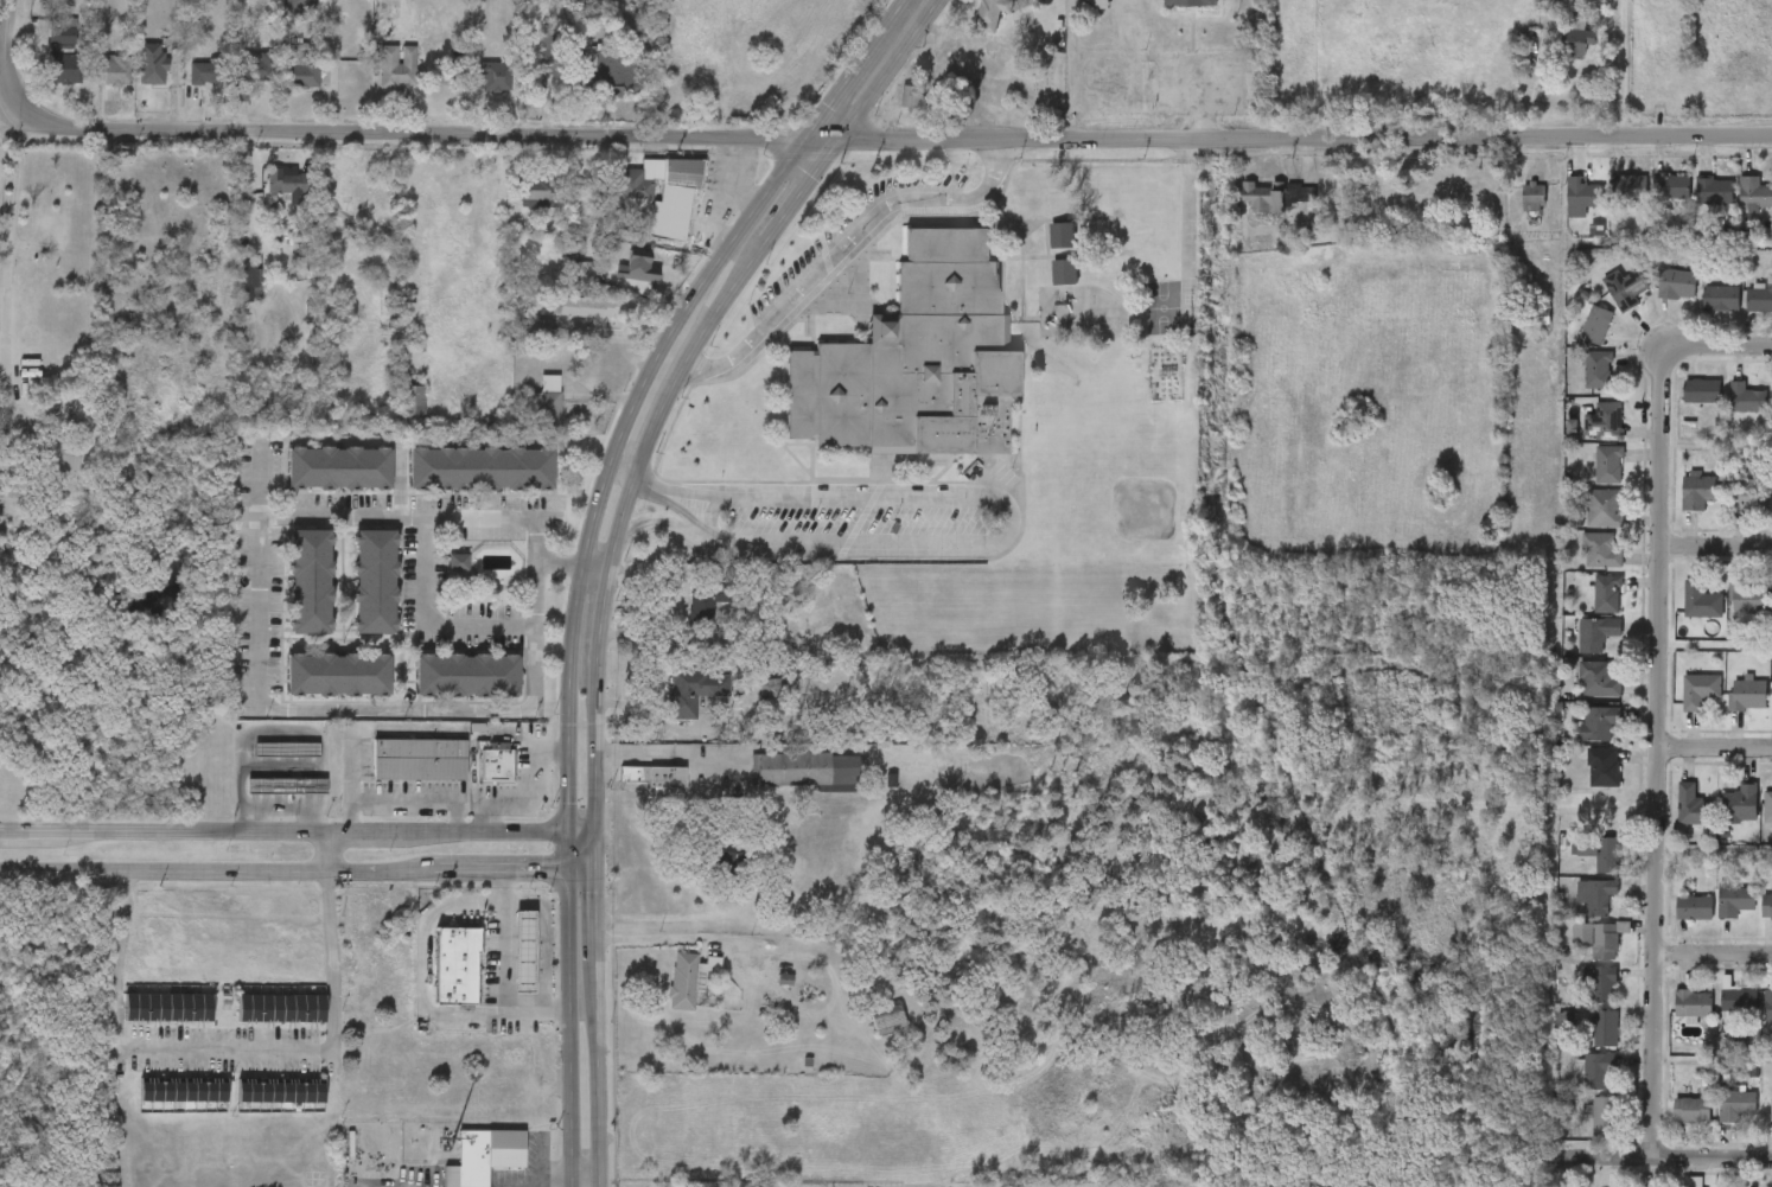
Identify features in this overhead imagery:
building: (1188, 4)
building: (301, 5)
building: (1096, 5)
building: (1077, 12)
building: (280, 14)
building: (990, 14)
building: (974, 23)
building: (63, 31)
building: (1576, 39)
building: (44, 47)
building: (552, 51)
building: (1556, 56)
building: (152, 64)
building: (528, 65)
building: (300, 66)
building: (397, 66)
building: (618, 68)
building: (66, 69)
building: (113, 70)
road: (861, 70)
building: (250, 71)
road: (890, 71)
building: (206, 74)
building: (495, 76)
building: (132, 79)
building: (376, 82)
building: (281, 83)
building: (46, 85)
building: (95, 85)
building: (184, 89)
building: (593, 89)
building: (474, 92)
building: (911, 97)
building: (892, 109)
road: (1203, 111)
road: (361, 133)
road: (1306, 138)
road: (826, 141)
road: (744, 164)
road: (785, 173)
building: (1672, 186)
building: (1628, 187)
building: (1715, 191)
building: (1754, 193)
building: (1264, 196)
building: (1535, 196)
building: (1582, 196)
building: (269, 199)
road: (796, 200)
building: (1611, 203)
road: (716, 204)
building: (1694, 206)
building: (1652, 208)
building: (642, 209)
building: (1767, 209)
building: (1255, 211)
building: (1735, 211)
building: (1512, 213)
building: (1562, 213)
road: (1186, 229)
road: (7, 240)
road: (844, 244)
building: (1077, 249)
building: (1043, 251)
building: (1674, 282)
building: (1045, 288)
building: (1082, 288)
building: (617, 289)
building: (1626, 292)
building: (231, 294)
building: (1721, 299)
building: (1759, 299)
building: (1656, 300)
building: (1605, 305)
building: (1770, 313)
building: (1701, 314)
building: (1526, 315)
building: (1744, 317)
building: (1595, 325)
building: (567, 327)
building: (520, 340)
building: (1576, 342)
building: (916, 359)
building: (1596, 370)
building: (1577, 385)
building: (1701, 391)
building: (1746, 400)
road: (645, 403)
building: (1682, 407)
building: (1764, 414)
building: (1727, 415)
building: (527, 416)
building: (394, 417)
building: (1607, 421)
building: (1588, 438)
building: (1550, 445)
building: (1608, 465)
building: (336, 467)
building: (479, 467)
building: (51, 471)
building: (1588, 480)
building: (1698, 491)
building: (1747, 496)
building: (1679, 506)
building: (1604, 508)
building: (1764, 511)
building: (1728, 512)
road: (659, 522)
building: (1583, 524)
road: (1002, 528)
road: (619, 531)
road: (1715, 542)
building: (1600, 550)
road: (597, 561)
building: (1580, 567)
building: (439, 577)
building: (308, 580)
building: (372, 580)
building: (1606, 594)
building: (291, 596)
building: (356, 598)
building: (1747, 600)
building: (705, 601)
building: (1700, 601)
building: (1586, 610)
building: (1728, 613)
building: (1681, 617)
building: (684, 620)
road: (423, 623)
building: (1595, 633)
building: (1576, 650)
road: (569, 672)
building: (336, 674)
building: (464, 674)
building: (1596, 679)
building: (694, 689)
road: (257, 690)
building: (447, 690)
building: (1698, 690)
building: (1577, 695)
building: (1747, 695)
road: (1658, 701)
building: (675, 707)
building: (1679, 707)
building: (1763, 709)
building: (1728, 710)
building: (1598, 722)
building: (1579, 739)
building: (285, 748)
road: (786, 748)
road: (1715, 748)
building: (417, 757)
building: (495, 759)
building: (267, 765)
building: (1601, 767)
building: (793, 768)
building: (399, 774)
building: (652, 776)
building: (477, 778)
building: (1582, 783)
building: (285, 785)
building: (786, 786)
building: (632, 792)
road: (458, 794)
building: (267, 802)
building: (1740, 804)
road: (276, 806)
building: (1693, 806)
building: (1767, 806)
road: (480, 813)
road: (455, 815)
building: (1721, 819)
building: (1671, 822)
road: (298, 835)
building: (1601, 851)
road: (329, 853)
road: (597, 854)
building: (1579, 868)
road: (164, 870)
building: (708, 870)
road: (384, 872)
road: (505, 874)
road: (582, 875)
building: (1594, 895)
building: (1733, 901)
building: (1766, 906)
building: (1691, 907)
building: (1575, 911)
building: (1715, 917)
building: (1757, 923)
building: (1674, 924)
road: (597, 926)
road: (673, 938)
building: (1595, 938)
road: (1714, 953)
building: (1577, 955)
building: (504, 966)
building: (436, 981)
building: (686, 981)
building: (1600, 984)
road: (485, 985)
road: (409, 988)
building: (669, 994)
building: (1736, 1000)
building: (1580, 1001)
building: (1693, 1003)
building: (1767, 1004)
building: (167, 1006)
building: (281, 1007)
building: (1717, 1015)
road: (584, 1019)
building: (888, 1019)
building: (1674, 1019)
building: (148, 1022)
building: (1754, 1022)
building: (261, 1023)
building: (1604, 1029)
building: (1585, 1044)
road: (224, 1052)
building: (1596, 1070)
road: (598, 1081)
building: (1575, 1086)
building: (183, 1087)
building: (281, 1090)
building: (162, 1106)
building: (1736, 1106)
building: (261, 1108)
building: (1767, 1109)
building: (1690, 1110)
building: (1604, 1116)
building: (1717, 1122)
building: (1671, 1125)
building: (1761, 1125)
building: (1582, 1130)
road: (1676, 1155)
road: (542, 1159)
building: (470, 1166)
road: (553, 1181)
road: (584, 1181)
building: (352, 1186)

